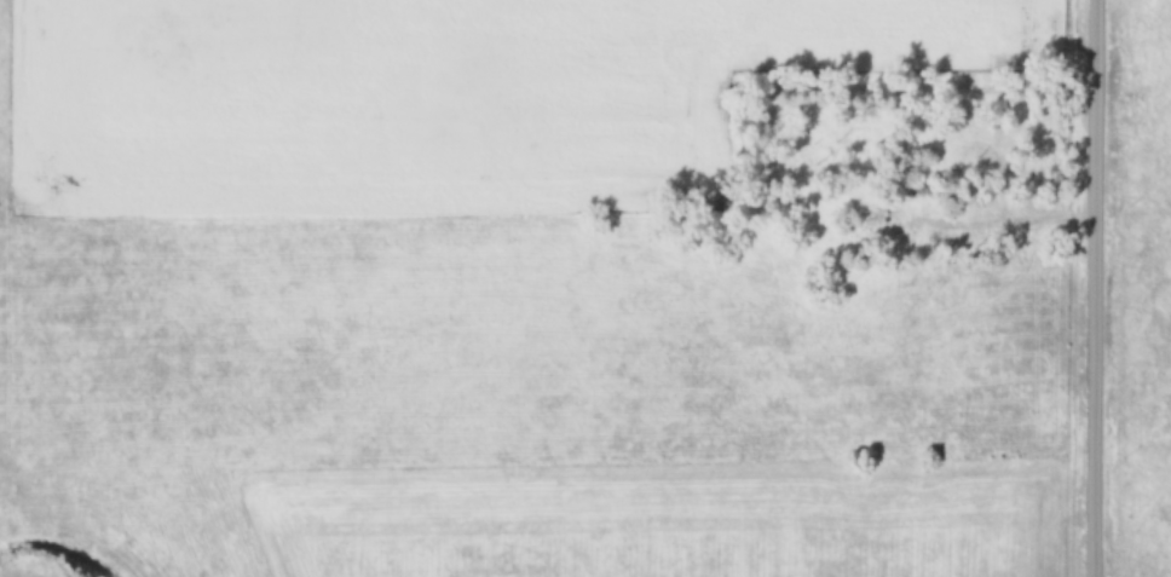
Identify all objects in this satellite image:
road: (1094, 288)

